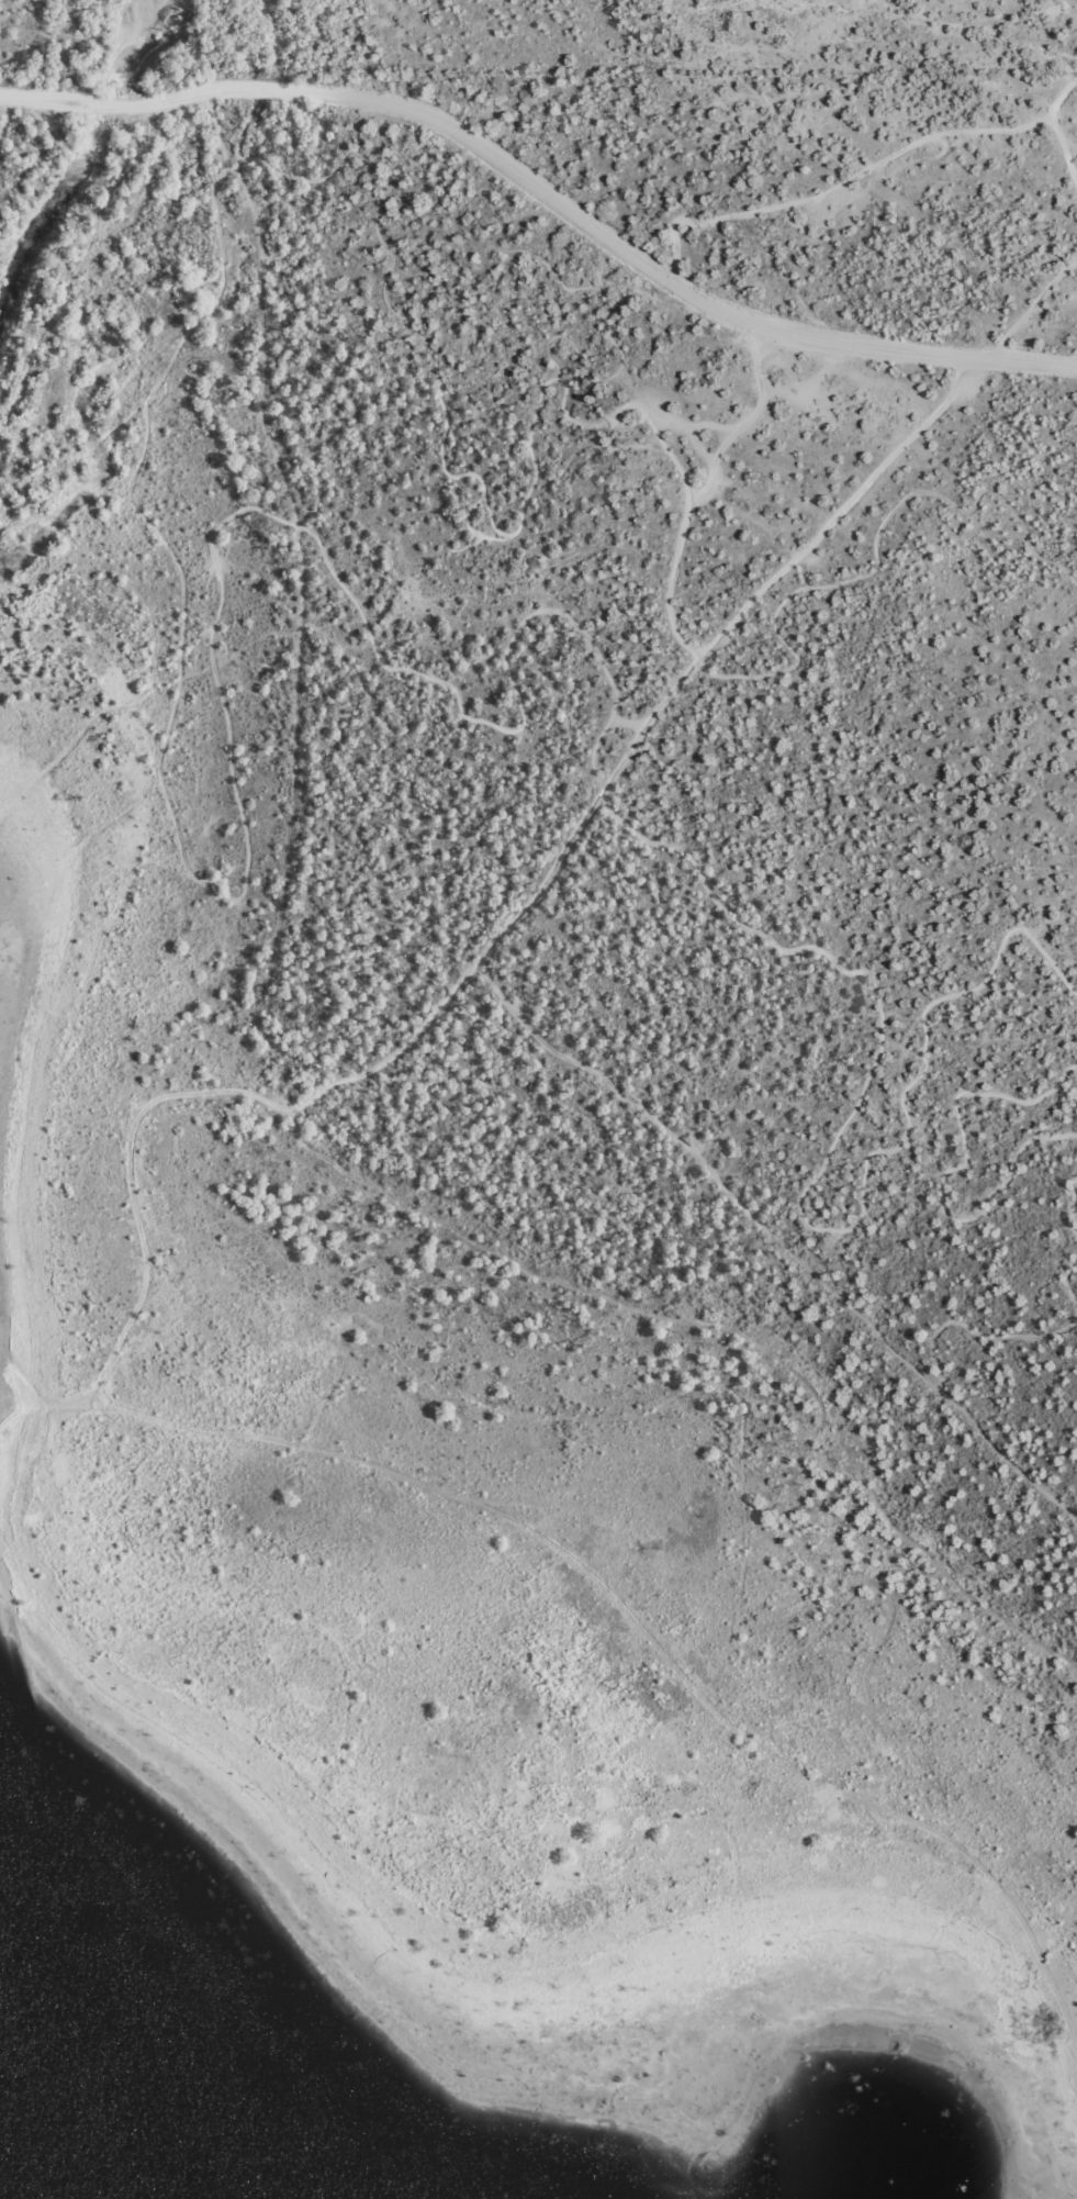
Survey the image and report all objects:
road: (543, 194)

